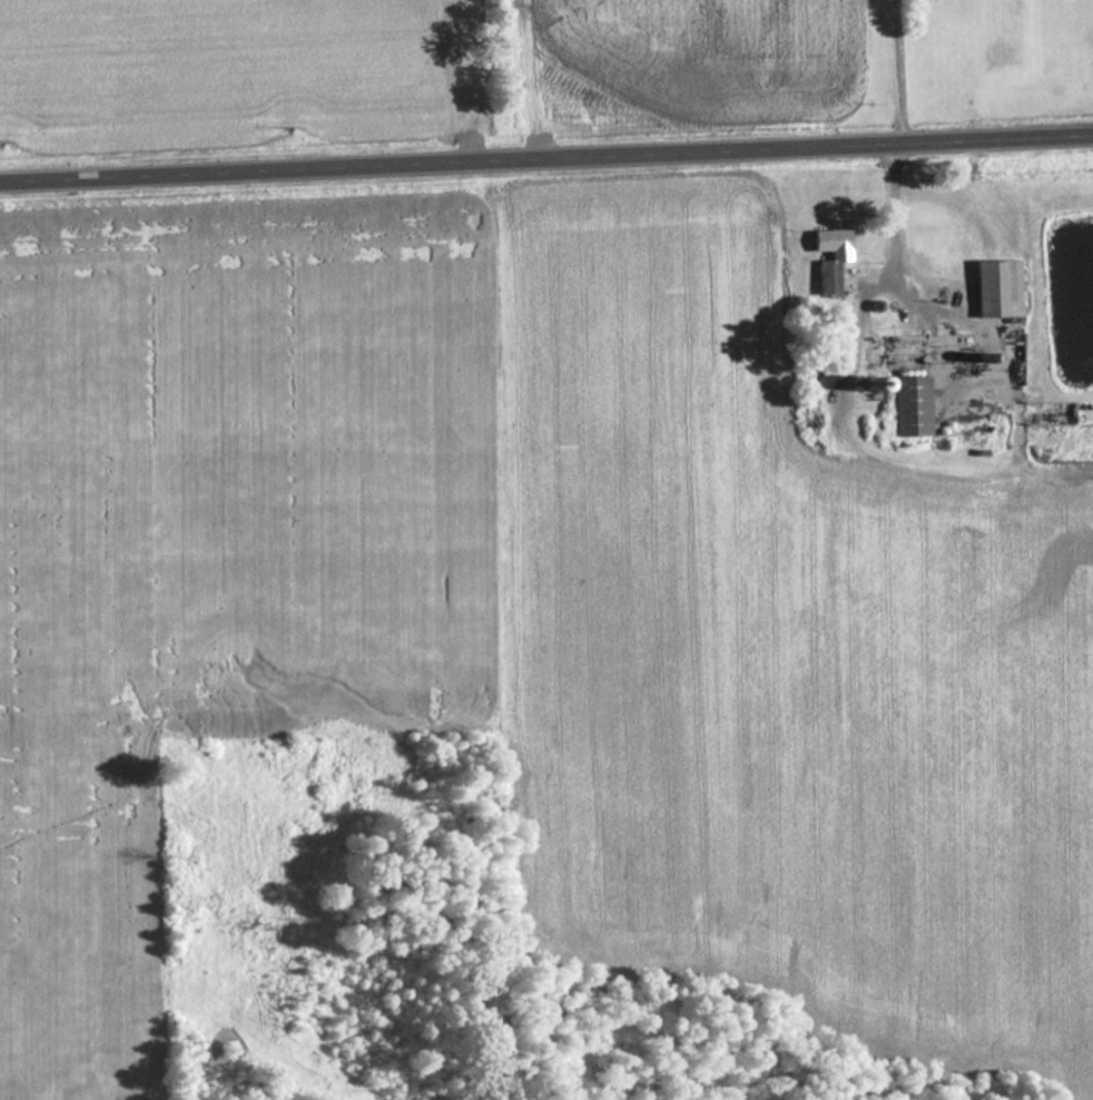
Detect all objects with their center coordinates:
road: (546, 166)
building: (829, 258)
building: (997, 288)
building: (928, 350)
building: (910, 406)

